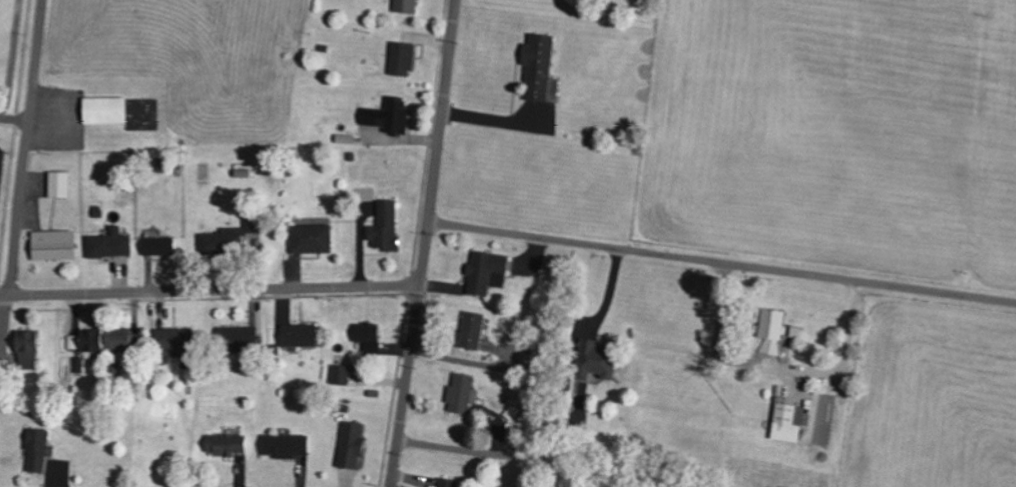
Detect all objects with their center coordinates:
building: (406, 6)
building: (403, 59)
building: (539, 66)
building: (106, 110)
building: (390, 115)
building: (60, 184)
road: (21, 195)
building: (387, 227)
building: (312, 238)
building: (235, 239)
building: (159, 243)
road: (424, 243)
building: (110, 244)
building: (54, 245)
road: (721, 262)
building: (486, 271)
road: (209, 290)
building: (472, 330)
building: (772, 331)
building: (368, 332)
building: (300, 335)
building: (239, 336)
building: (93, 340)
building: (75, 342)
building: (177, 342)
building: (122, 343)
building: (29, 350)
building: (597, 361)
building: (341, 374)
building: (461, 394)
building: (791, 418)
building: (227, 443)
building: (352, 444)
building: (286, 445)
building: (37, 449)
building: (447, 482)

